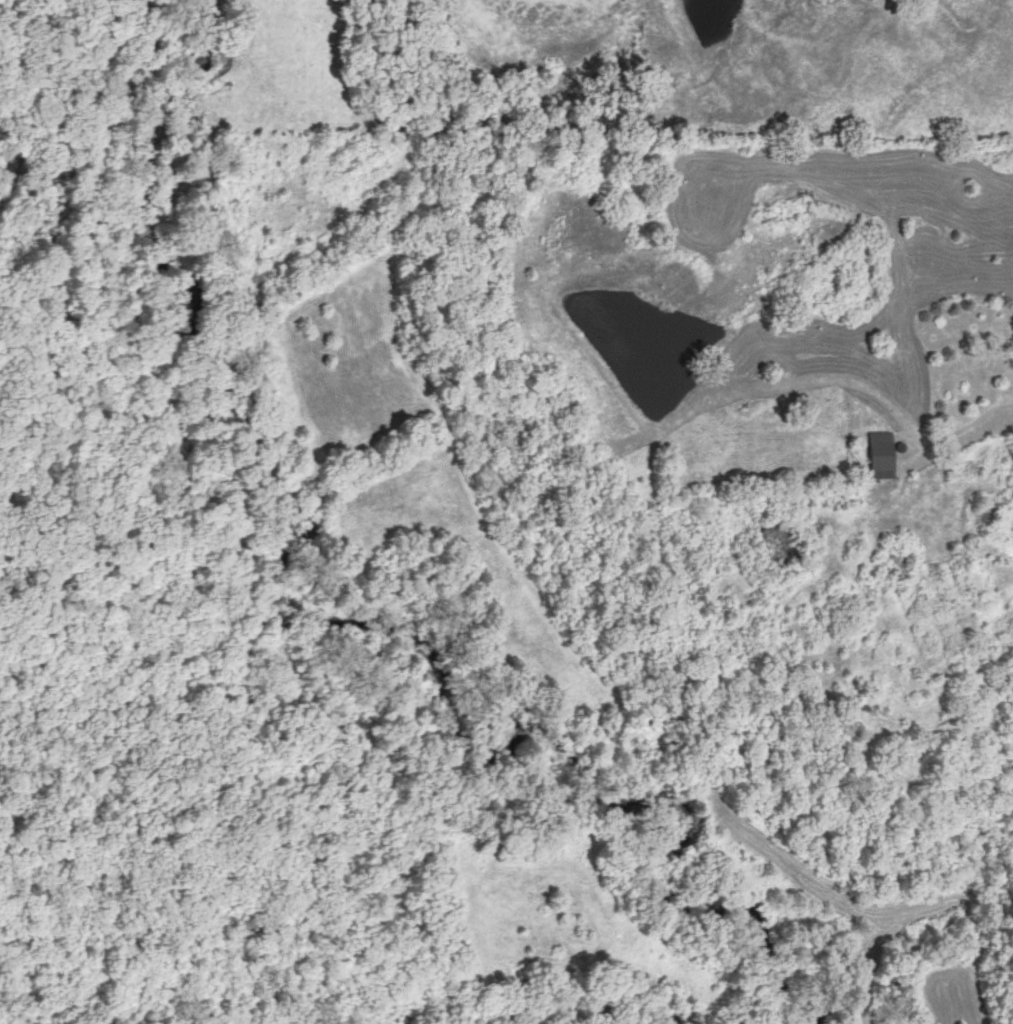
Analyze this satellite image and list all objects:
building: (876, 455)

